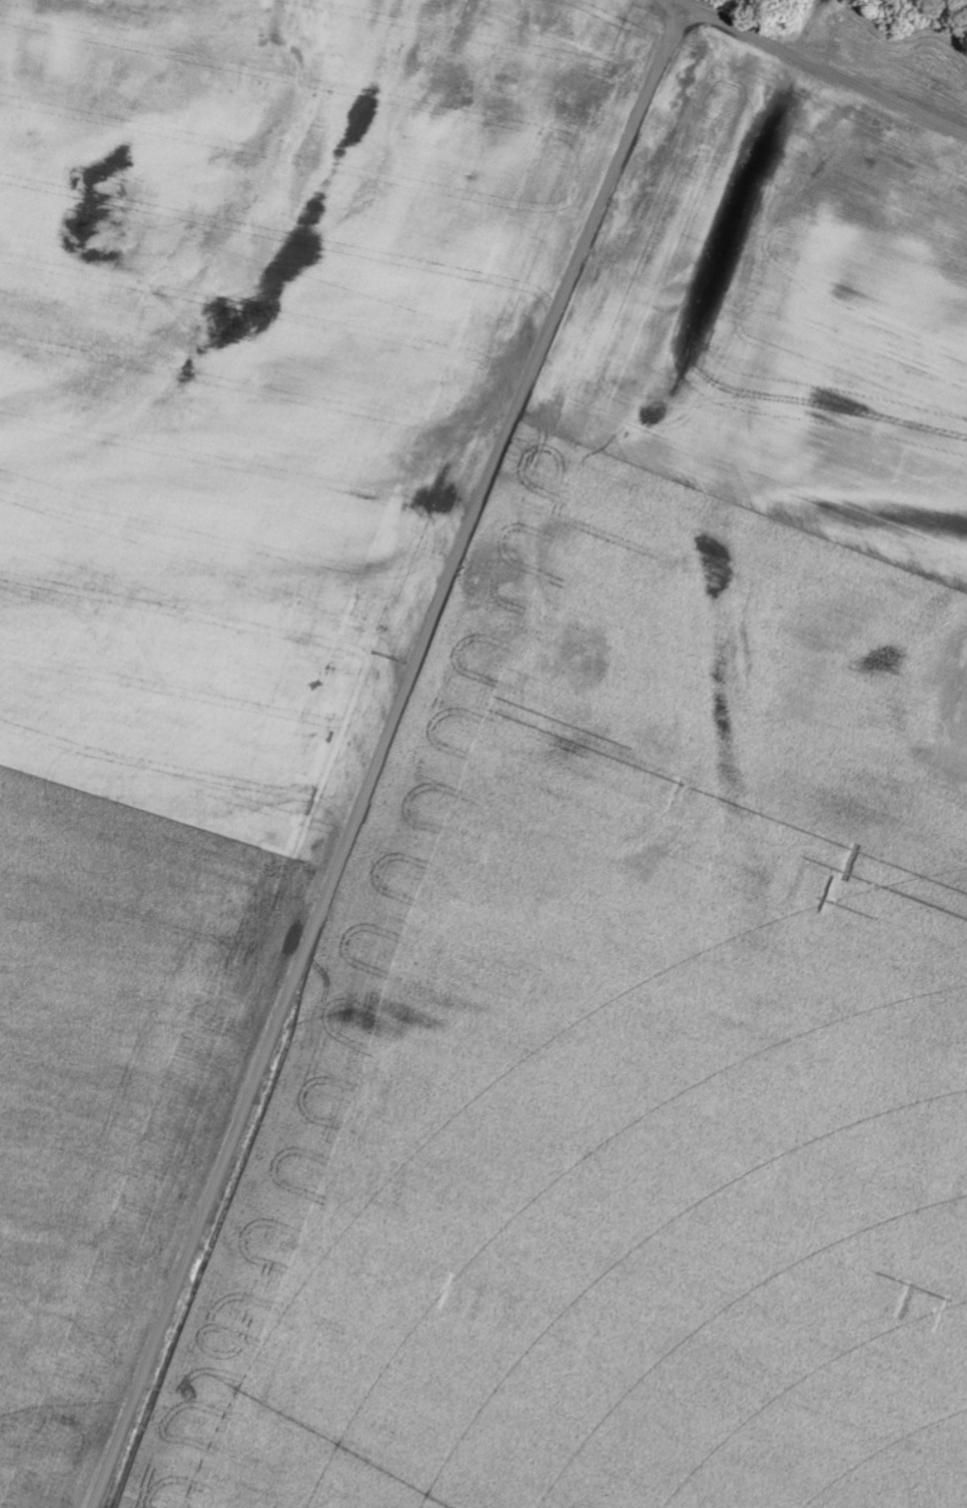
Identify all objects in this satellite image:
road: (822, 68)
road: (575, 266)
road: (280, 1018)

